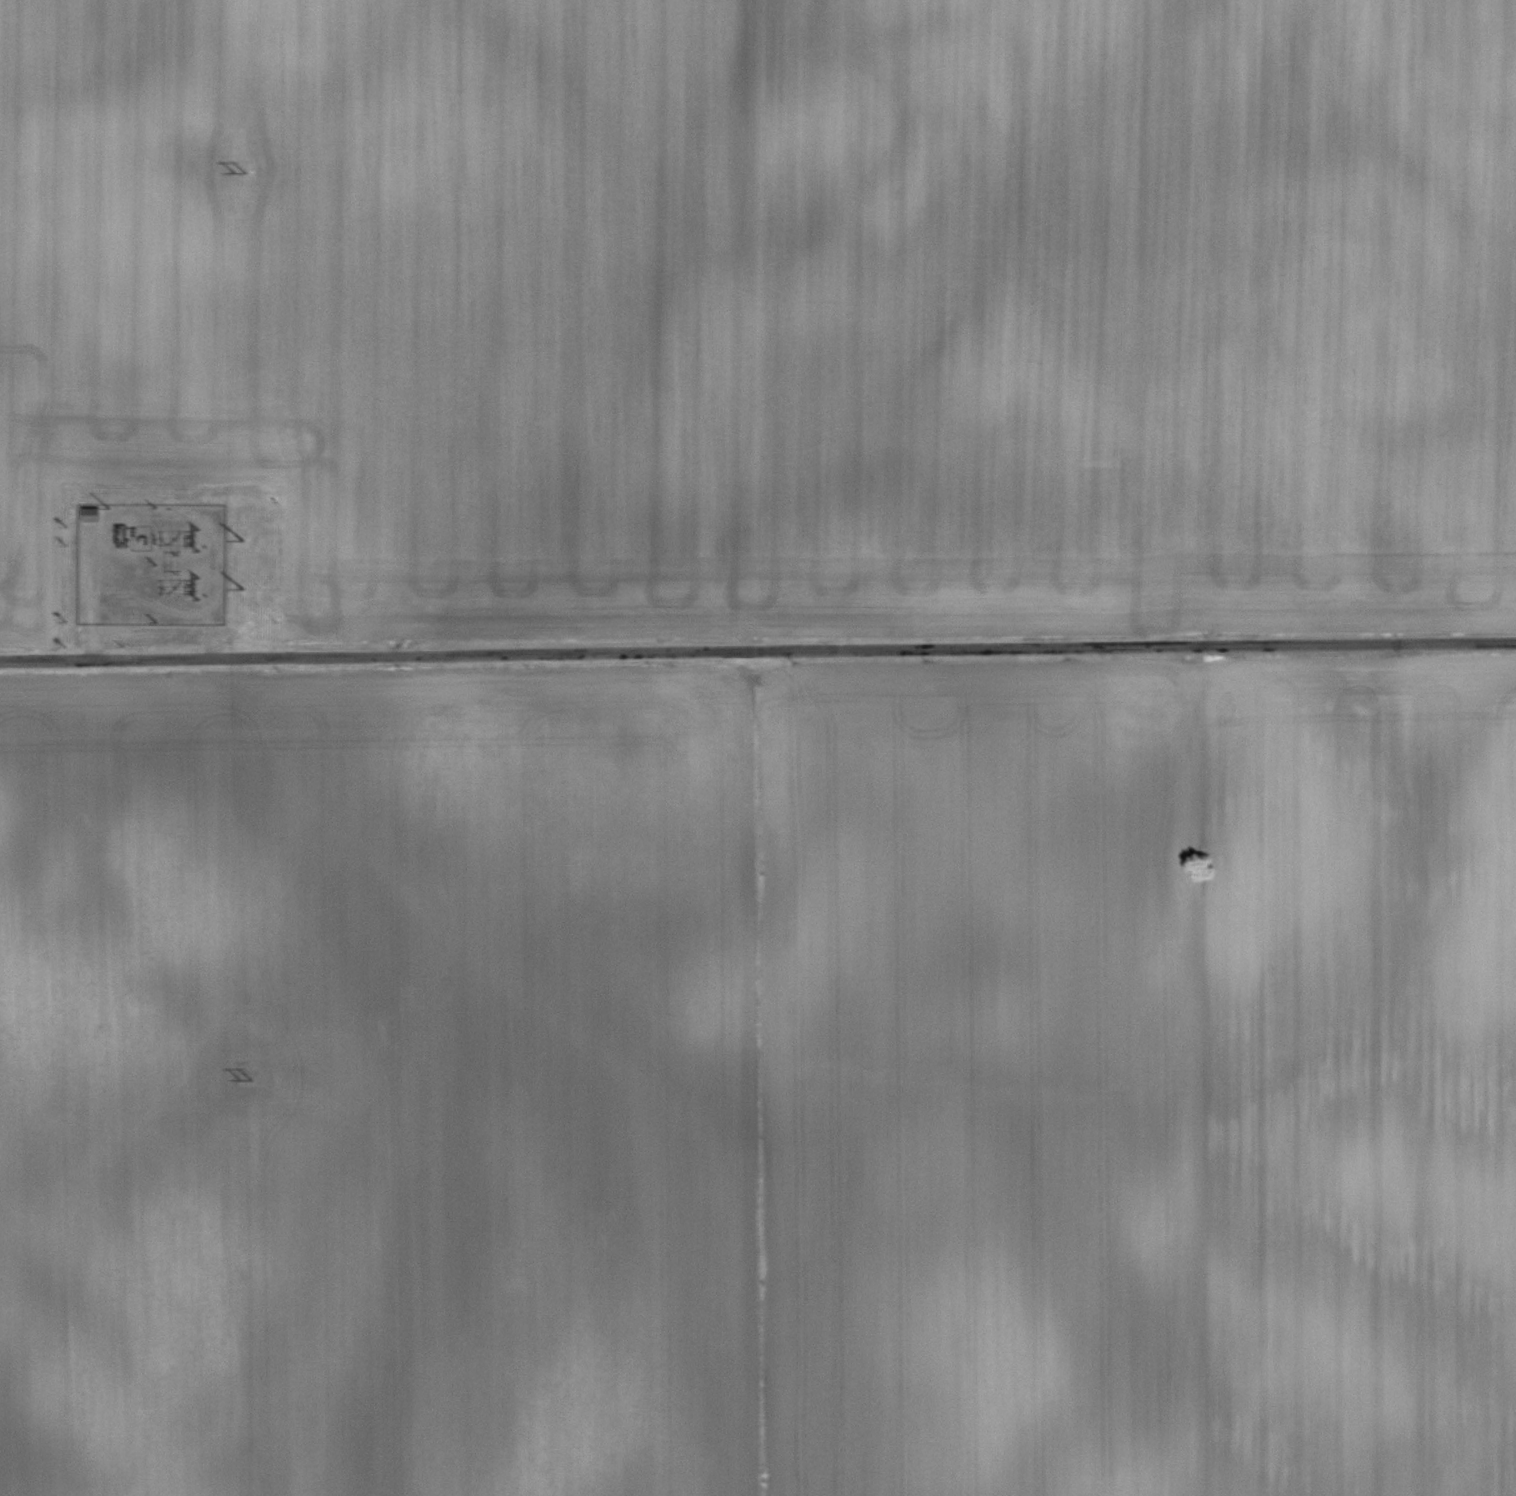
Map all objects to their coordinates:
power substation: (152, 564)
road: (215, 640)
road: (95, 641)
road: (758, 650)

